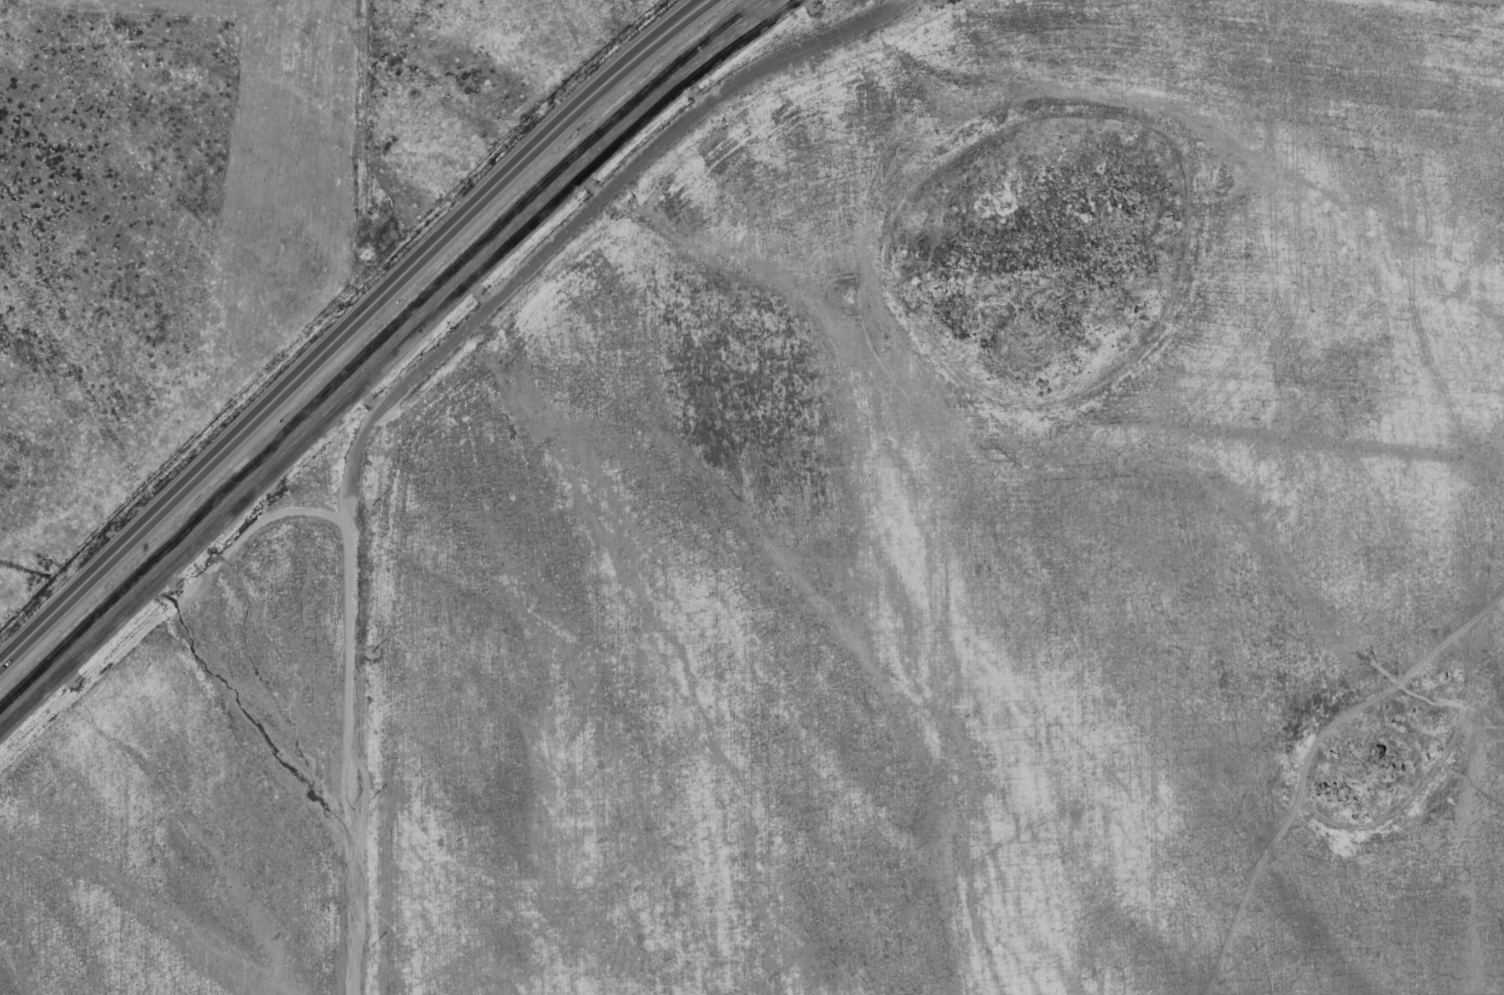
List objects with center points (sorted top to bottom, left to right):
road: (347, 326)
road: (405, 384)
road: (163, 612)

